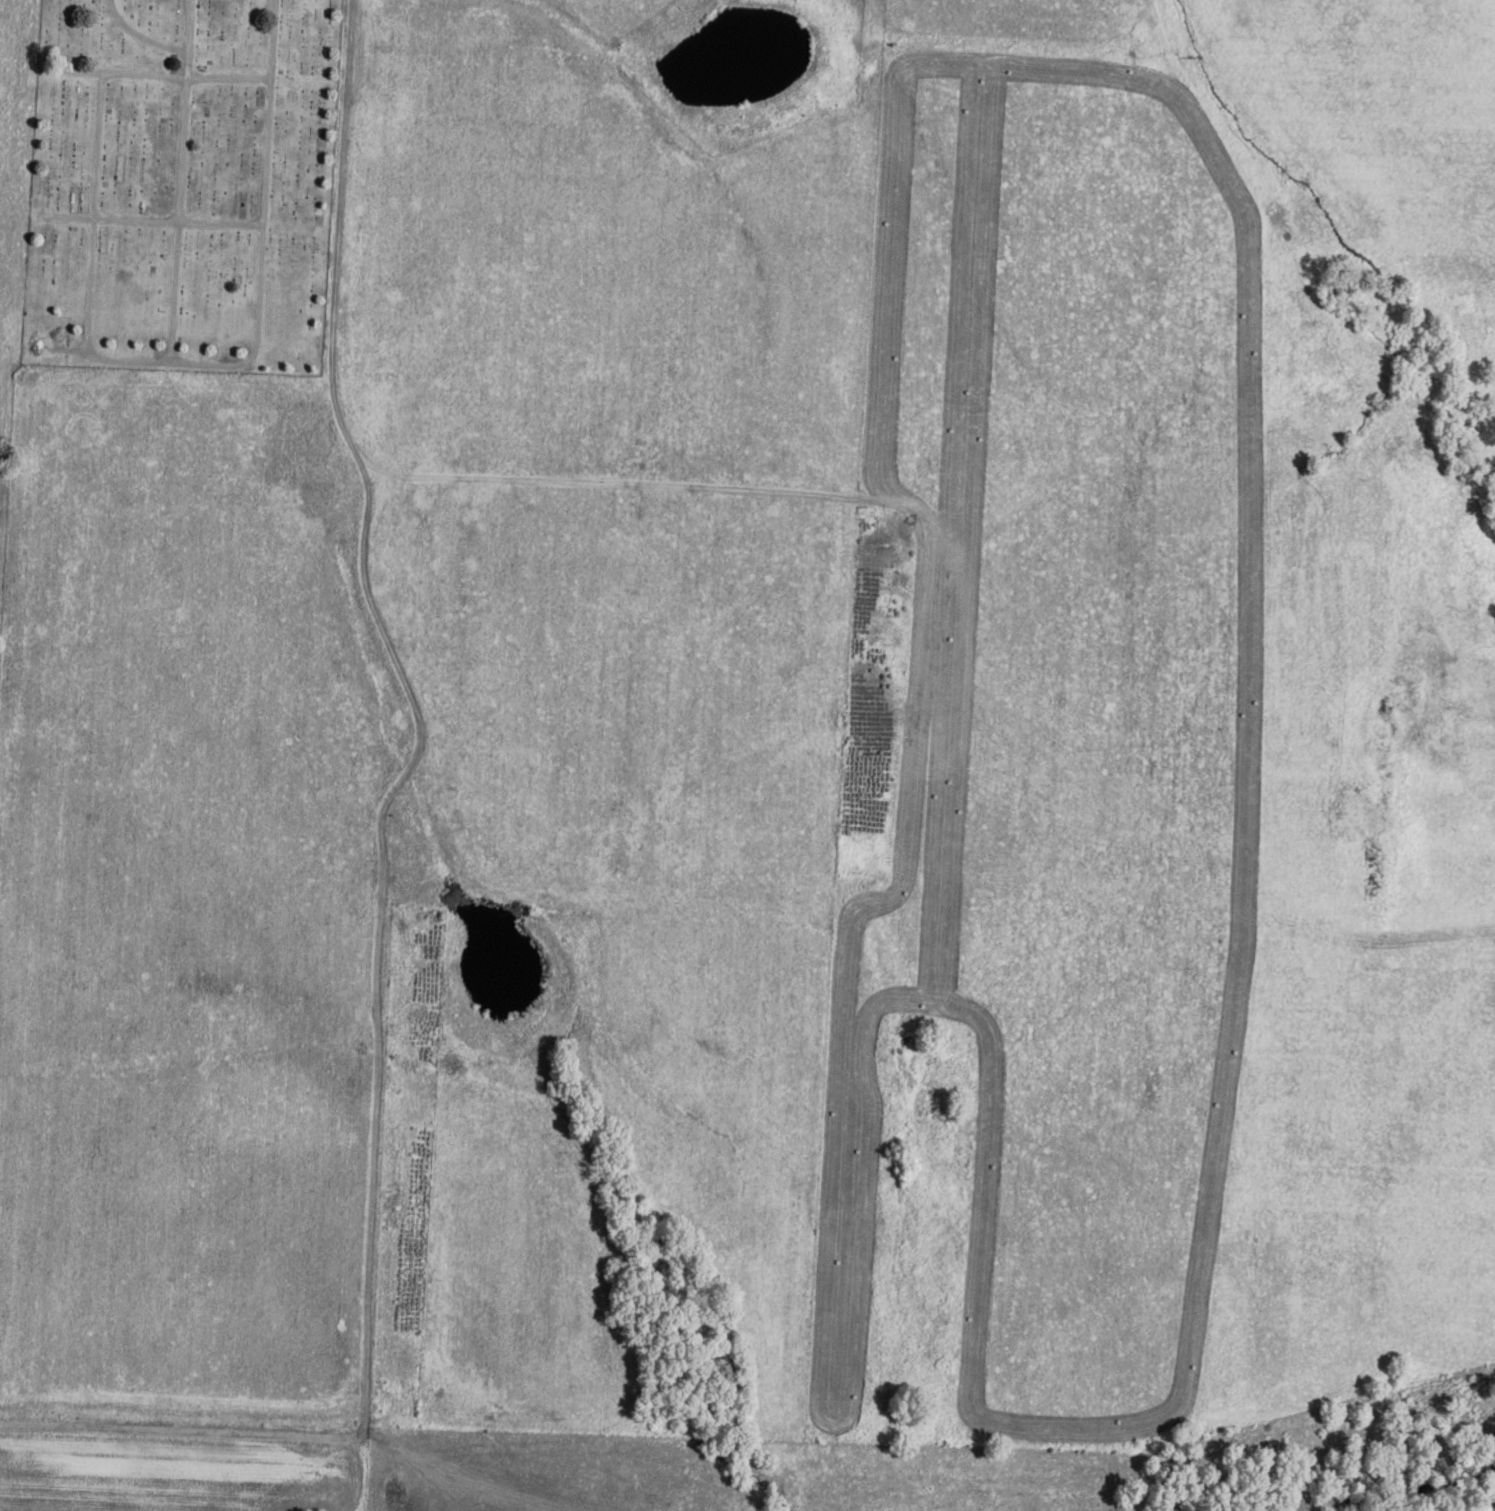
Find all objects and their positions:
road: (139, 39)
road: (170, 77)
road: (179, 181)
park: (178, 183)
road: (149, 219)
road: (210, 364)
road: (386, 884)

